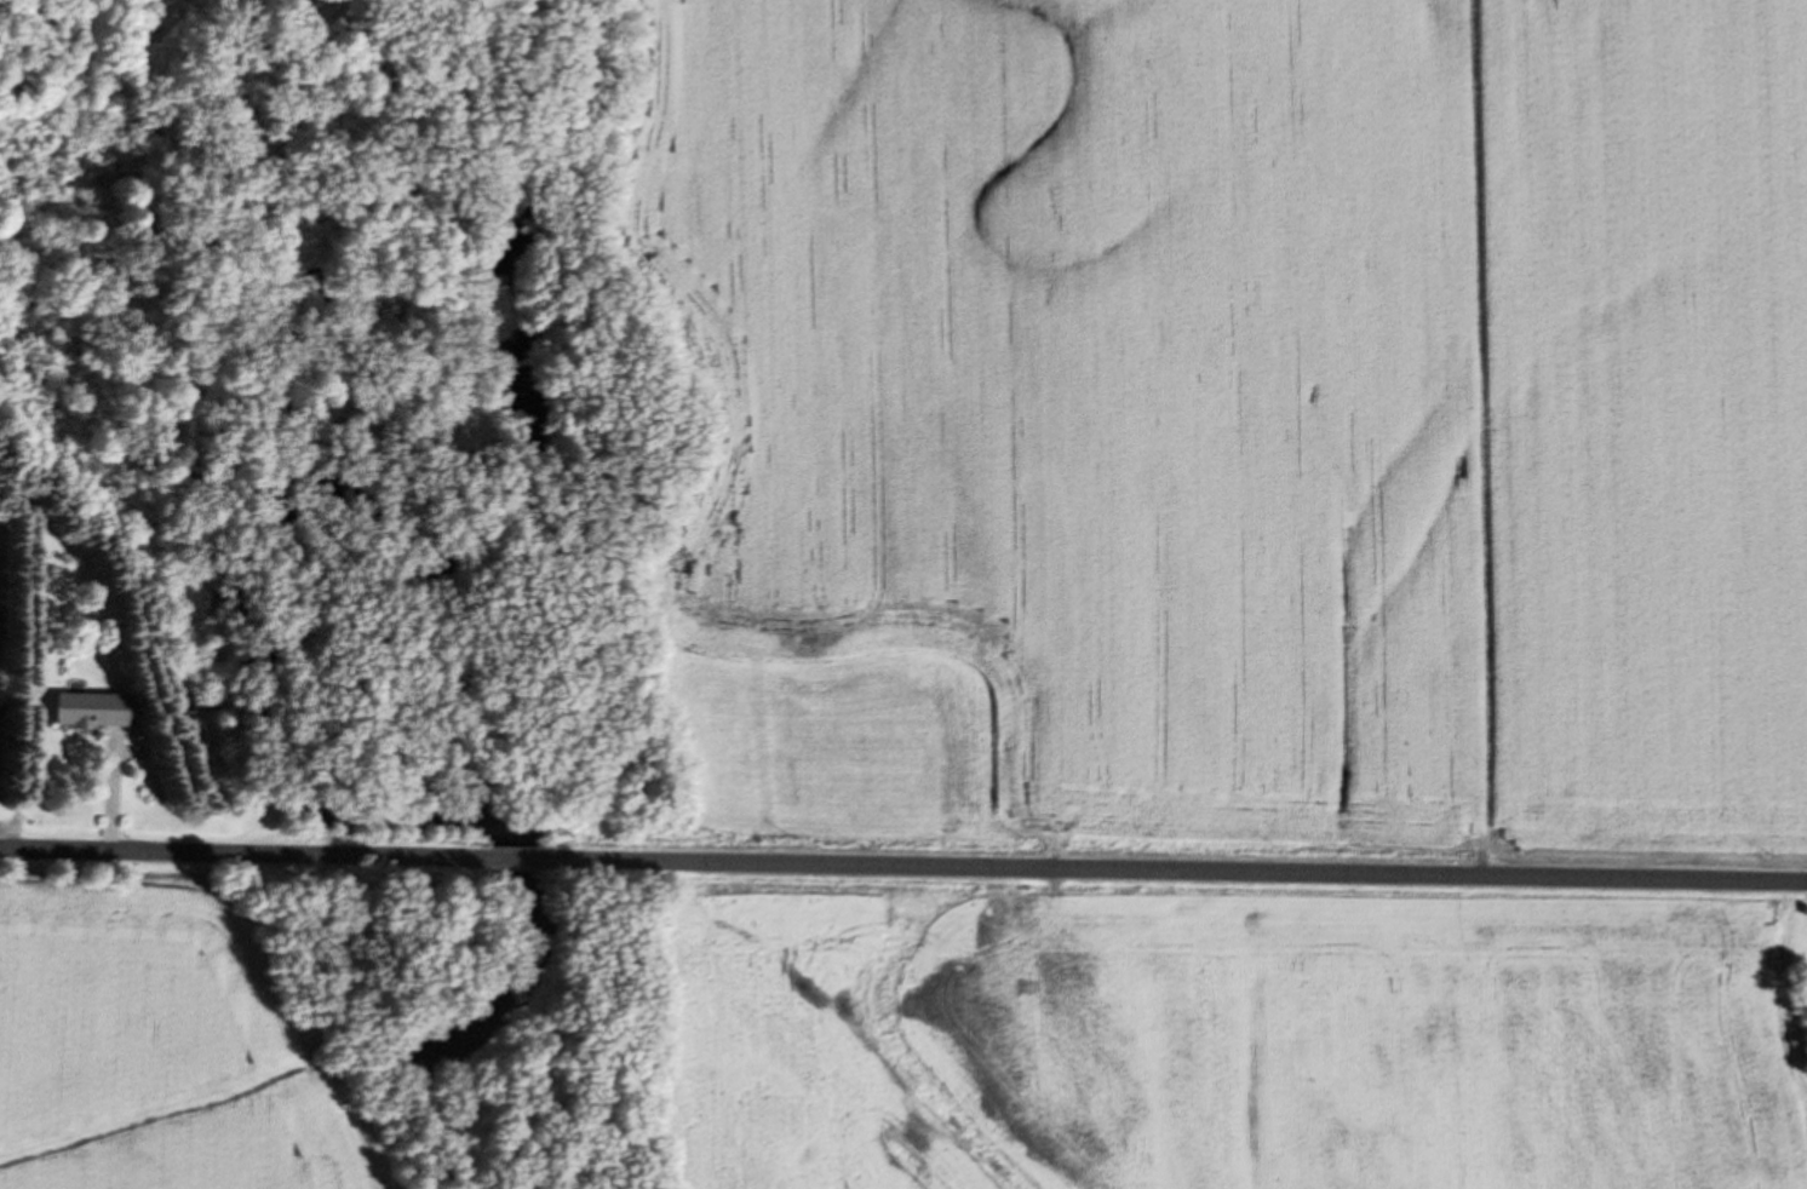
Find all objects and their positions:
building: (92, 710)
road: (242, 854)
road: (516, 860)
road: (1177, 872)

